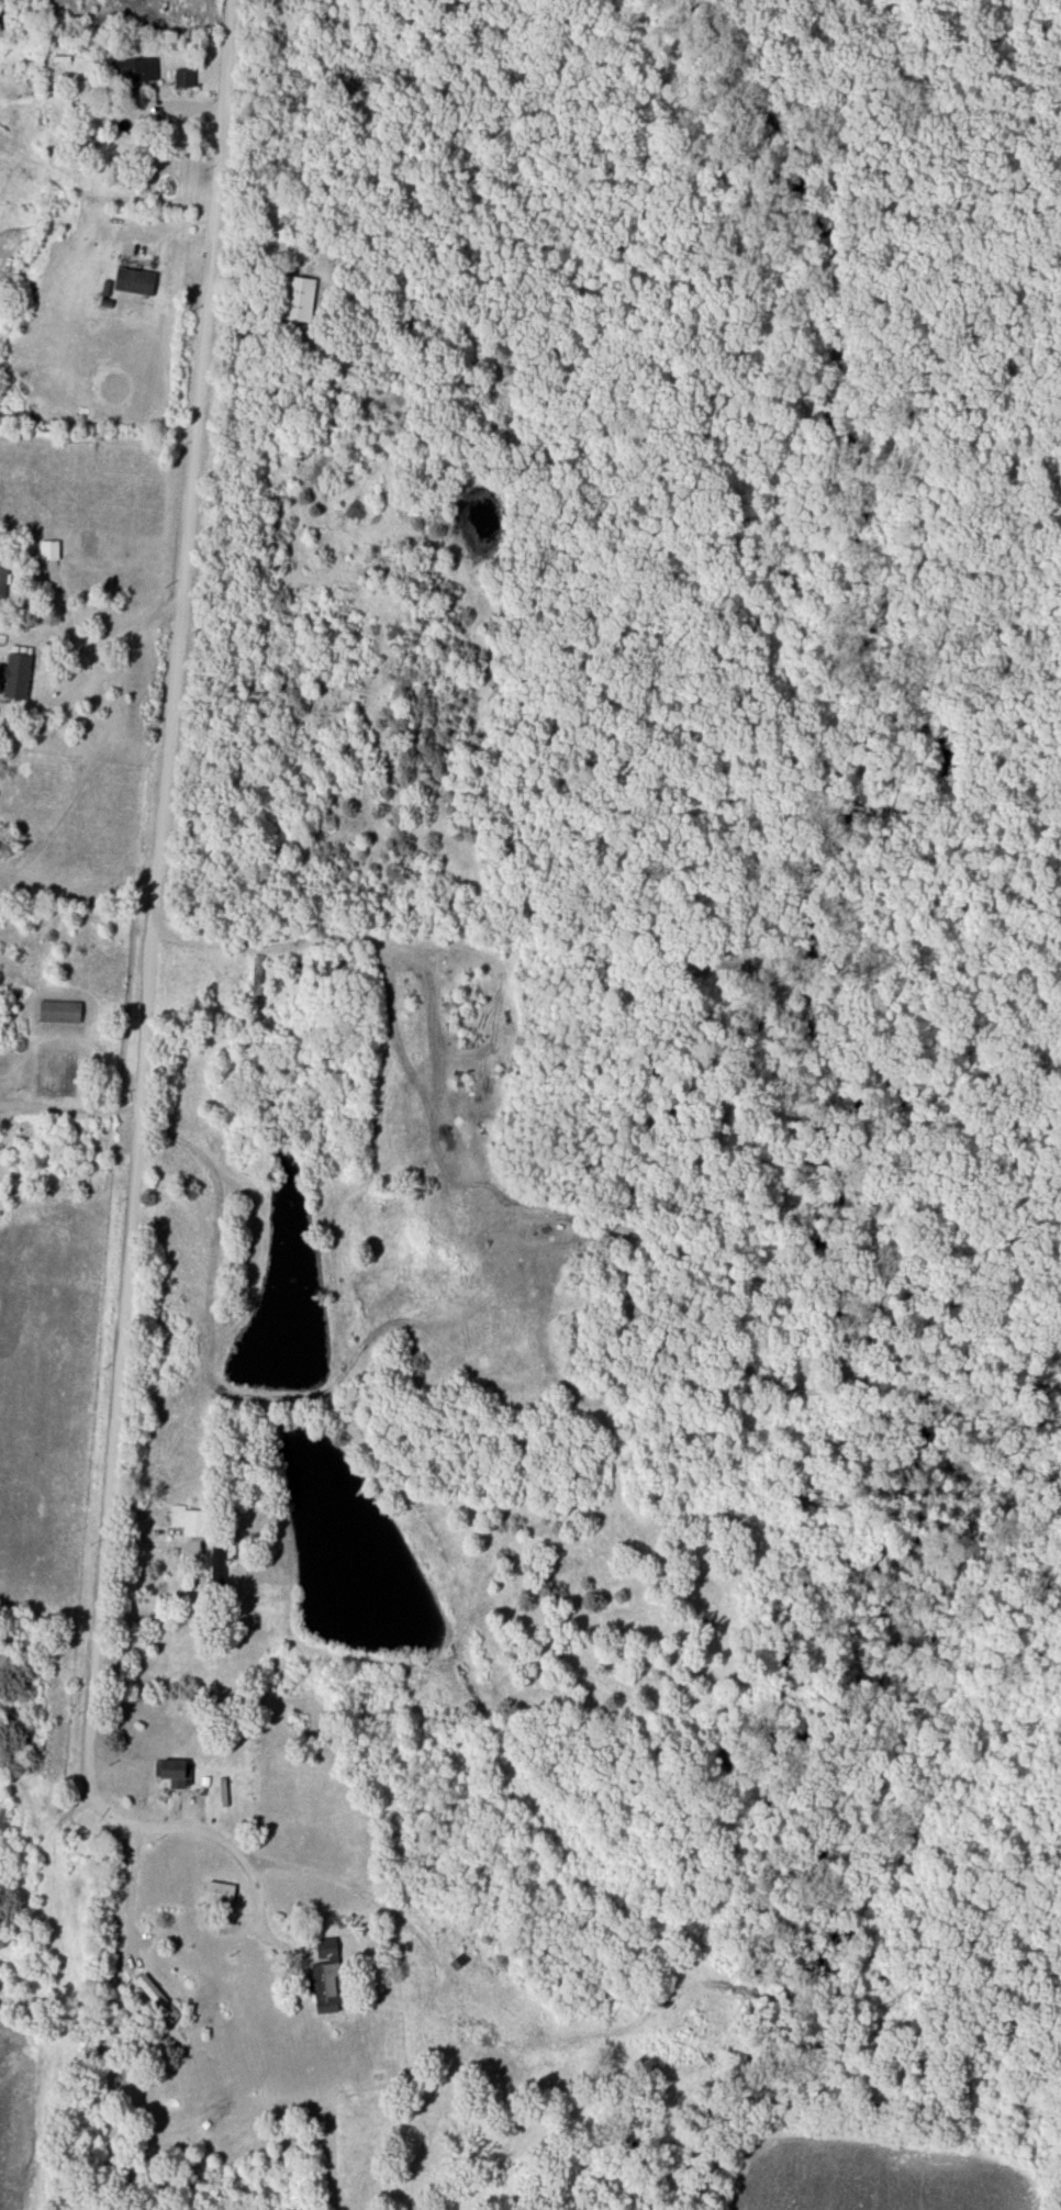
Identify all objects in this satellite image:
building: (136, 72)
building: (185, 79)
building: (134, 282)
building: (298, 301)
building: (49, 549)
building: (3, 579)
road: (129, 634)
building: (16, 679)
road: (149, 956)
building: (319, 975)
building: (257, 978)
building: (209, 997)
building: (59, 1014)
road: (68, 1107)
building: (190, 1522)
building: (216, 1563)
road: (198, 1578)
building: (174, 1773)
road: (245, 1866)
road: (123, 1893)
building: (220, 1895)
building: (325, 1979)
building: (157, 1999)

